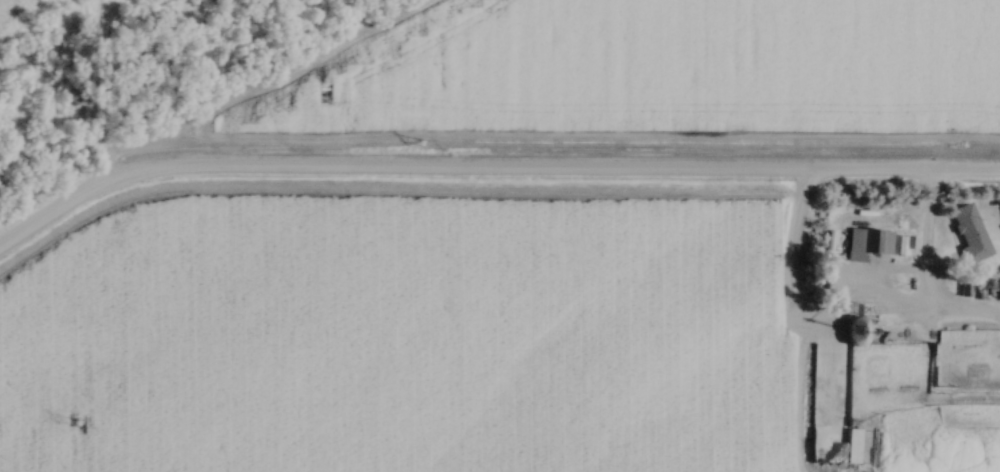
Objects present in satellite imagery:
road: (257, 92)
power tower: (423, 143)
road: (641, 175)
road: (133, 183)
building: (968, 232)
building: (877, 244)
road: (854, 305)
road: (962, 314)
building: (855, 324)
road: (803, 392)
power tower: (72, 426)
building: (852, 446)

